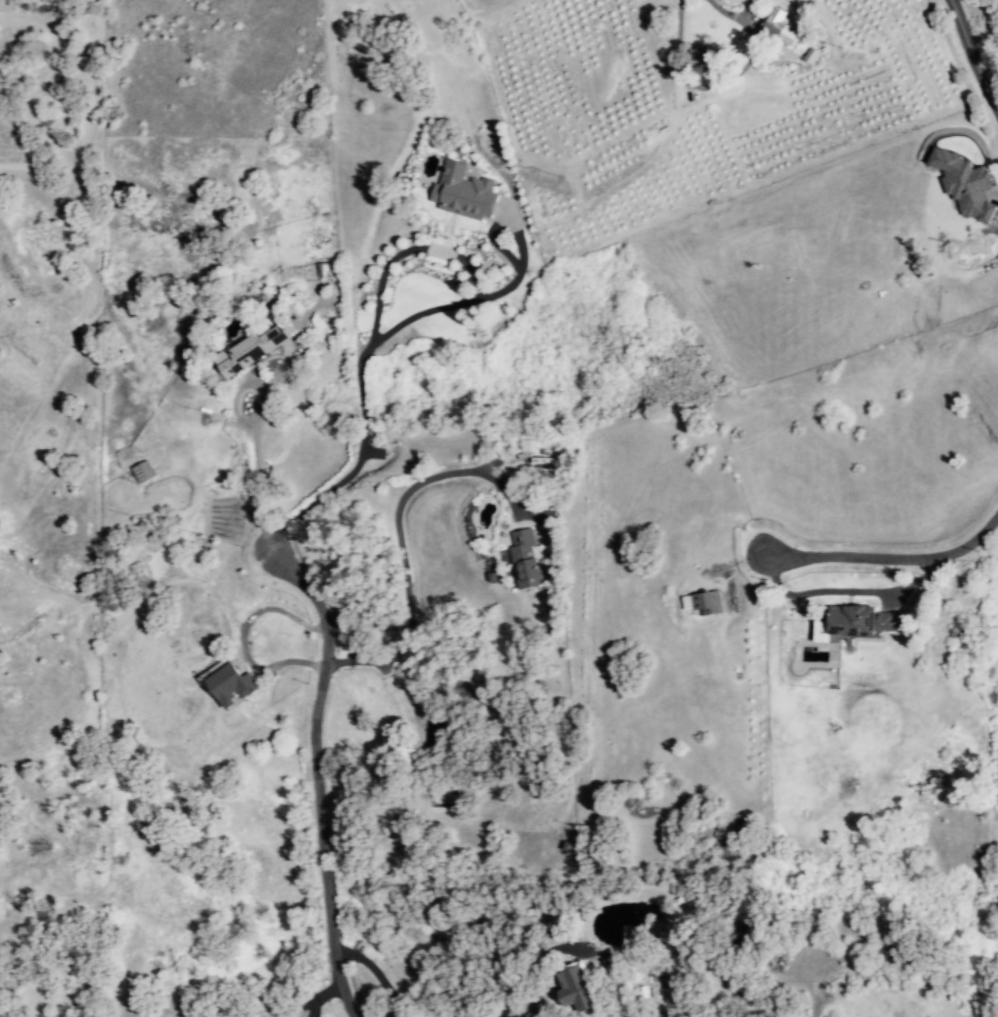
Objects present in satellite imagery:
building: (777, 28)
building: (811, 56)
road: (973, 59)
road: (678, 60)
building: (708, 60)
building: (462, 192)
building: (321, 270)
building: (252, 349)
road: (359, 364)
road: (250, 470)
building: (142, 472)
road: (399, 550)
building: (524, 559)
road: (888, 560)
building: (703, 603)
building: (861, 621)
road: (241, 637)
building: (212, 671)
building: (231, 686)
road: (313, 774)
building: (575, 989)

